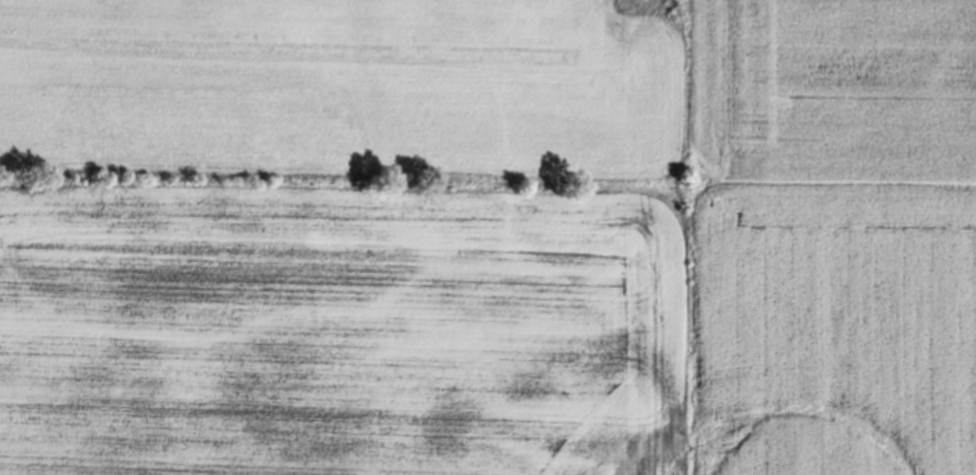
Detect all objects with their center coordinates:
crop: (834, 92)

